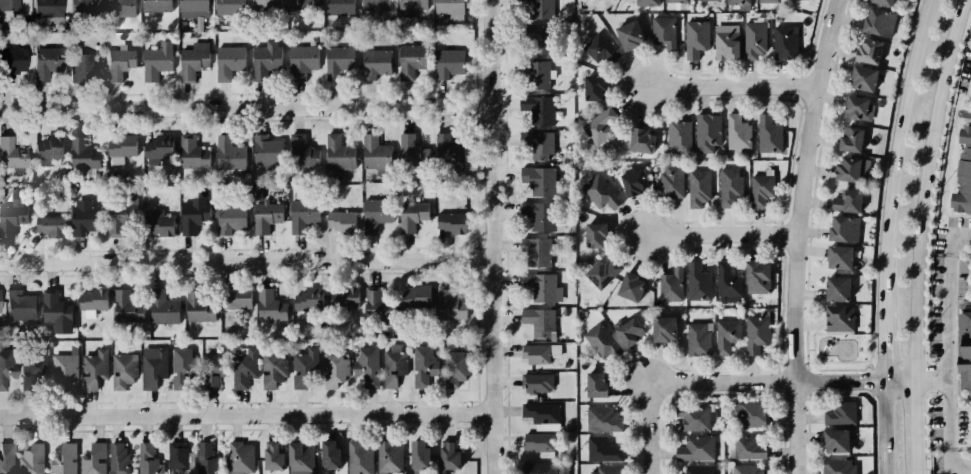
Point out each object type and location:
building: (597, 0)
building: (707, 0)
building: (767, 0)
building: (676, 1)
building: (737, 1)
building: (647, 2)
building: (882, 2)
building: (302, 3)
building: (8, 4)
building: (265, 4)
building: (375, 4)
building: (411, 4)
building: (156, 5)
building: (228, 6)
building: (338, 6)
building: (83, 7)
building: (119, 7)
building: (46, 8)
building: (192, 8)
building: (539, 8)
building: (449, 9)
building: (878, 21)
building: (663, 31)
building: (629, 34)
building: (695, 37)
building: (753, 39)
building: (535, 40)
building: (725, 41)
building: (784, 41)
building: (600, 48)
building: (868, 50)
building: (265, 58)
building: (411, 59)
building: (156, 60)
building: (191, 60)
building: (228, 60)
building: (301, 60)
building: (337, 60)
building: (11, 61)
building: (46, 62)
building: (374, 62)
building: (447, 62)
building: (117, 63)
building: (79, 67)
building: (536, 77)
building: (862, 77)
building: (594, 86)
road: (731, 87)
road: (244, 105)
building: (855, 105)
building: (535, 110)
road: (934, 118)
building: (598, 125)
building: (707, 131)
building: (737, 132)
building: (768, 133)
building: (678, 136)
building: (850, 139)
building: (640, 140)
building: (535, 147)
building: (406, 149)
building: (47, 150)
building: (119, 150)
building: (300, 150)
building: (155, 151)
building: (369, 151)
building: (192, 152)
building: (446, 152)
building: (12, 153)
building: (81, 153)
building: (263, 153)
building: (335, 153)
building: (228, 154)
building: (847, 169)
building: (964, 173)
building: (535, 181)
building: (670, 181)
building: (632, 182)
building: (698, 188)
building: (730, 188)
building: (761, 192)
building: (600, 193)
building: (847, 200)
building: (11, 215)
building: (190, 215)
building: (374, 216)
building: (537, 217)
building: (118, 218)
building: (263, 218)
building: (409, 218)
building: (300, 219)
building: (156, 220)
building: (82, 222)
building: (228, 223)
building: (448, 223)
building: (48, 225)
building: (336, 225)
building: (843, 228)
road: (722, 234)
road: (884, 234)
building: (592, 235)
road: (796, 235)
road: (488, 237)
road: (955, 238)
building: (535, 252)
building: (838, 256)
road: (244, 258)
building: (601, 275)
building: (968, 276)
building: (754, 277)
building: (725, 280)
building: (696, 283)
building: (536, 286)
building: (627, 286)
building: (670, 286)
building: (836, 288)
building: (91, 299)
building: (0, 300)
building: (347, 301)
building: (234, 302)
building: (414, 303)
building: (307, 304)
building: (267, 305)
building: (374, 305)
building: (449, 305)
building: (20, 306)
building: (199, 306)
building: (125, 307)
building: (56, 308)
building: (161, 308)
road: (915, 308)
building: (838, 318)
building: (539, 322)
building: (660, 328)
building: (627, 330)
building: (727, 333)
building: (755, 335)
building: (697, 339)
building: (600, 342)
road: (806, 345)
building: (962, 350)
road: (947, 351)
building: (539, 355)
road: (805, 362)
road: (808, 365)
road: (871, 365)
building: (366, 368)
road: (839, 368)
building: (180, 369)
building: (210, 369)
building: (423, 369)
building: (455, 369)
building: (152, 370)
building: (7, 371)
building: (30, 371)
building: (334, 371)
building: (394, 371)
building: (93, 372)
building: (122, 372)
building: (239, 372)
building: (299, 372)
building: (63, 373)
building: (272, 373)
road: (931, 379)
road: (808, 380)
road: (737, 382)
building: (536, 384)
building: (594, 385)
road: (916, 409)
building: (837, 411)
road: (245, 414)
building: (749, 415)
building: (539, 416)
building: (691, 417)
building: (602, 418)
building: (970, 421)
building: (835, 439)
building: (537, 442)
building: (692, 447)
building: (748, 448)
building: (603, 451)
building: (448, 455)
building: (329, 456)
building: (418, 456)
road: (917, 456)
building: (65, 457)
building: (271, 457)
building: (5, 458)
building: (92, 458)
building: (118, 458)
building: (146, 458)
building: (204, 458)
building: (299, 458)
building: (359, 458)
building: (389, 458)
building: (32, 459)
building: (178, 459)
building: (239, 460)
road: (956, 462)
building: (837, 466)
building: (545, 468)
building: (746, 469)
building: (604, 470)
building: (697, 470)

